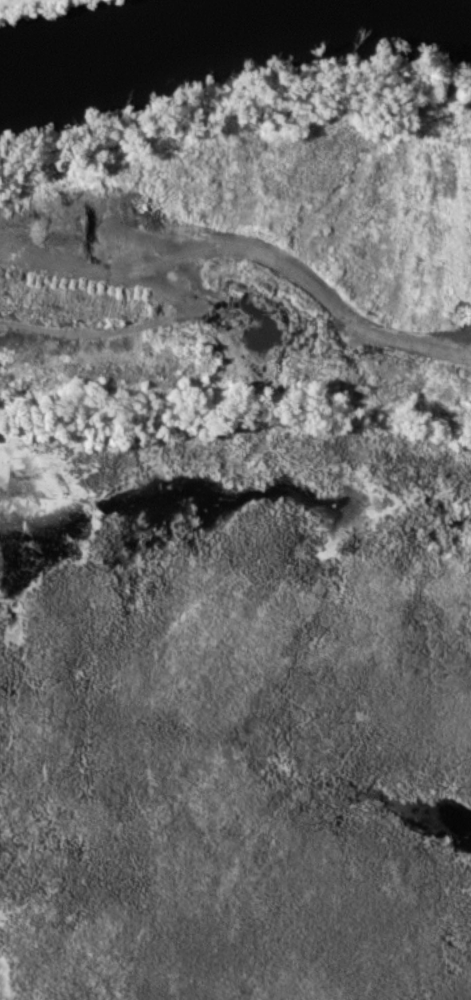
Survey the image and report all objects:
river: (434, 10)
river: (168, 26)
road: (243, 251)
road: (232, 311)
road: (105, 328)

